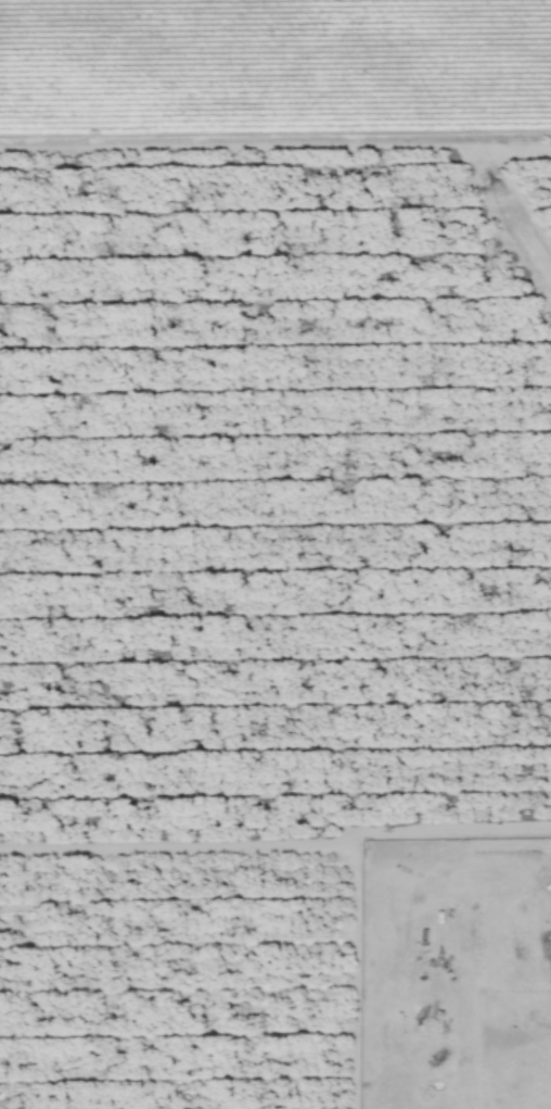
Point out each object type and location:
power tower: (492, 190)
road: (277, 845)

